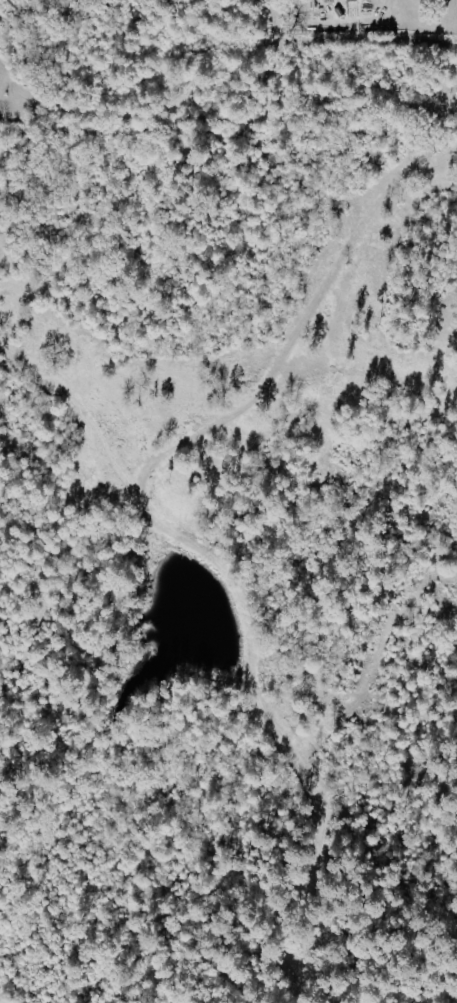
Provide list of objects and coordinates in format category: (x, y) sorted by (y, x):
road: (173, 534)

